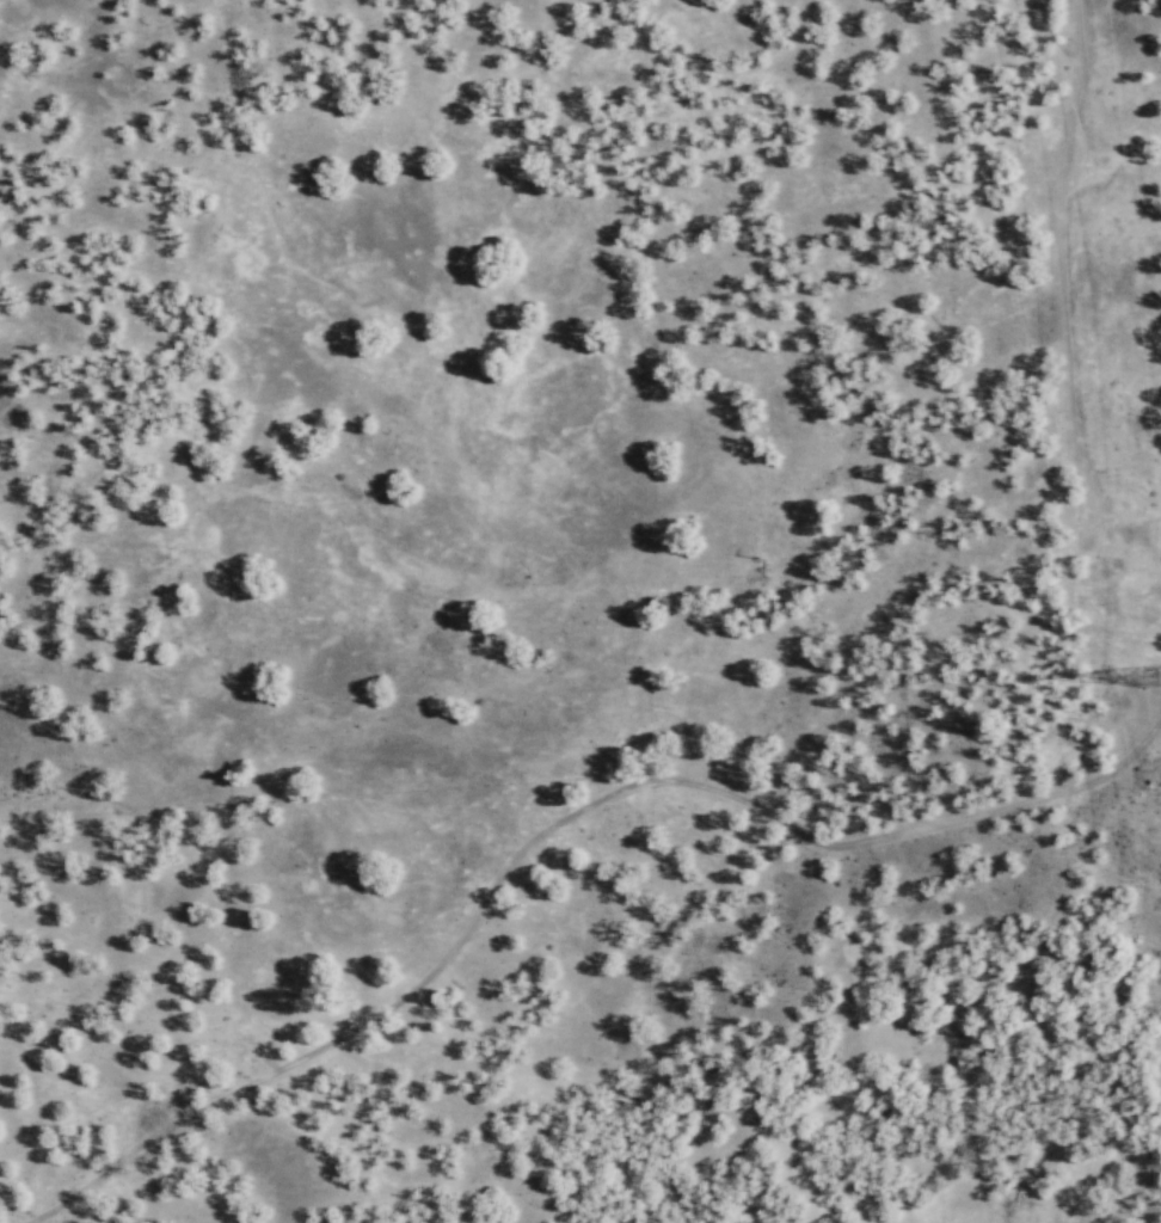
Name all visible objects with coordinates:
road: (618, 619)
power tower: (1153, 677)
road: (911, 828)
road: (355, 1024)

